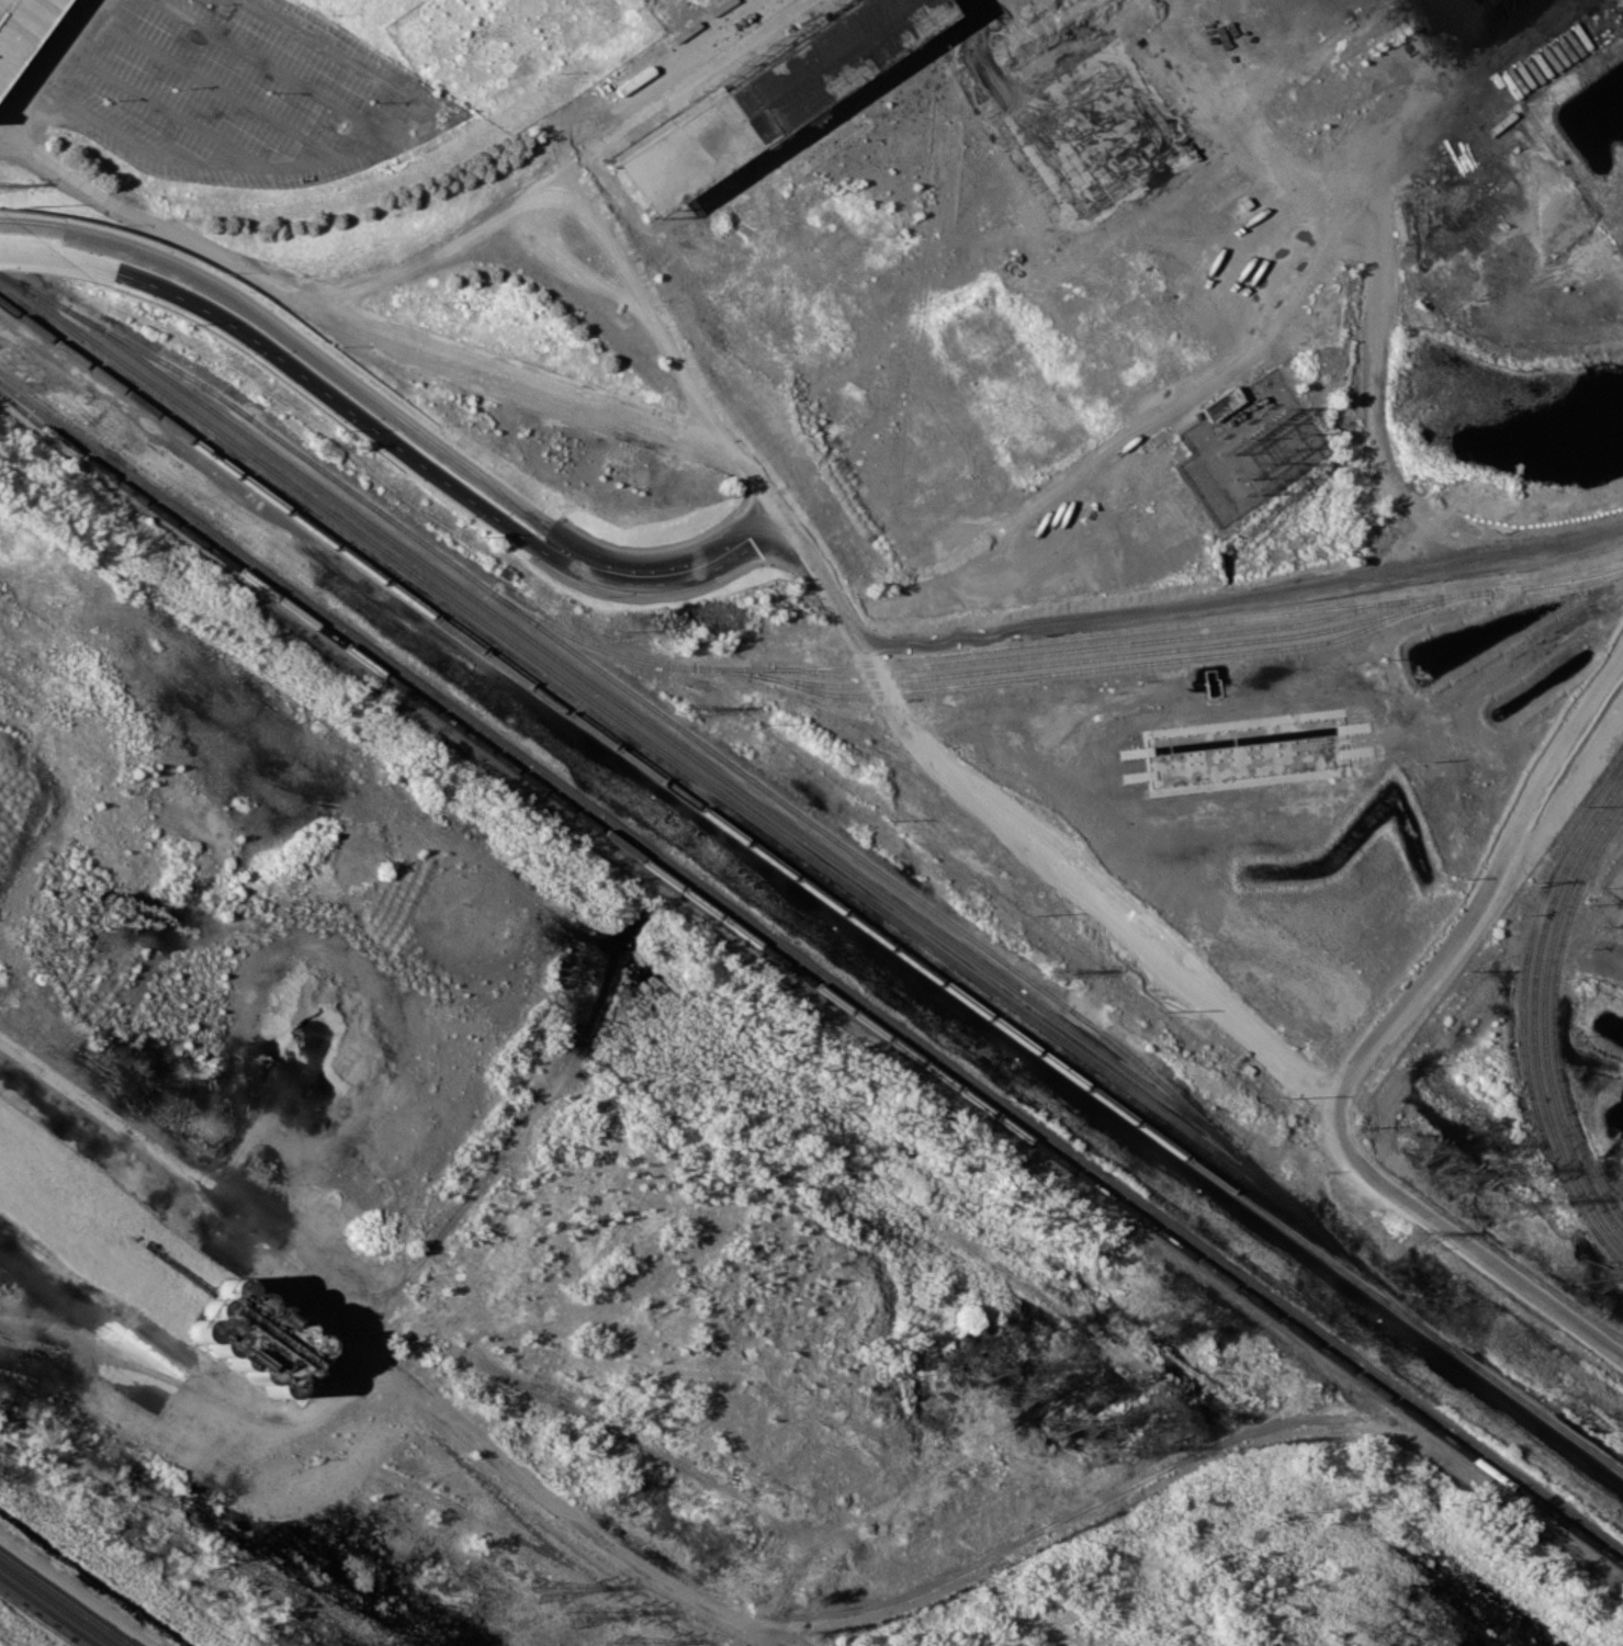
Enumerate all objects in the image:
building: (20, 27)
parking garage: (20, 27)
road: (52, 68)
building: (759, 94)
road: (566, 196)
road: (29, 228)
road: (55, 257)
road: (566, 266)
road: (393, 334)
road: (1241, 367)
road: (333, 369)
road: (348, 410)
railway: (255, 419)
road: (683, 568)
railway: (1051, 640)
railway: (1089, 647)
railway: (1064, 661)
railway: (1123, 665)
railway: (652, 726)
railway: (656, 747)
power substation: (1613, 878)
railway: (811, 886)
railway: (989, 949)
railway: (811, 967)
railway: (810, 981)
railway: (1523, 1011)
road: (1371, 1044)
power tower: (1417, 1150)
power tower: (1452, 1174)
power tower: (1494, 1205)
power tower: (1591, 1273)
power tower: (982, 1368)
power tower: (1017, 1394)
power tower: (1058, 1424)
power tower: (1094, 1451)
power tower: (542, 1590)
railway: (66, 1599)
railway: (58, 1604)
railway: (48, 1611)
power tower: (576, 1614)
power tower: (620, 1645)

